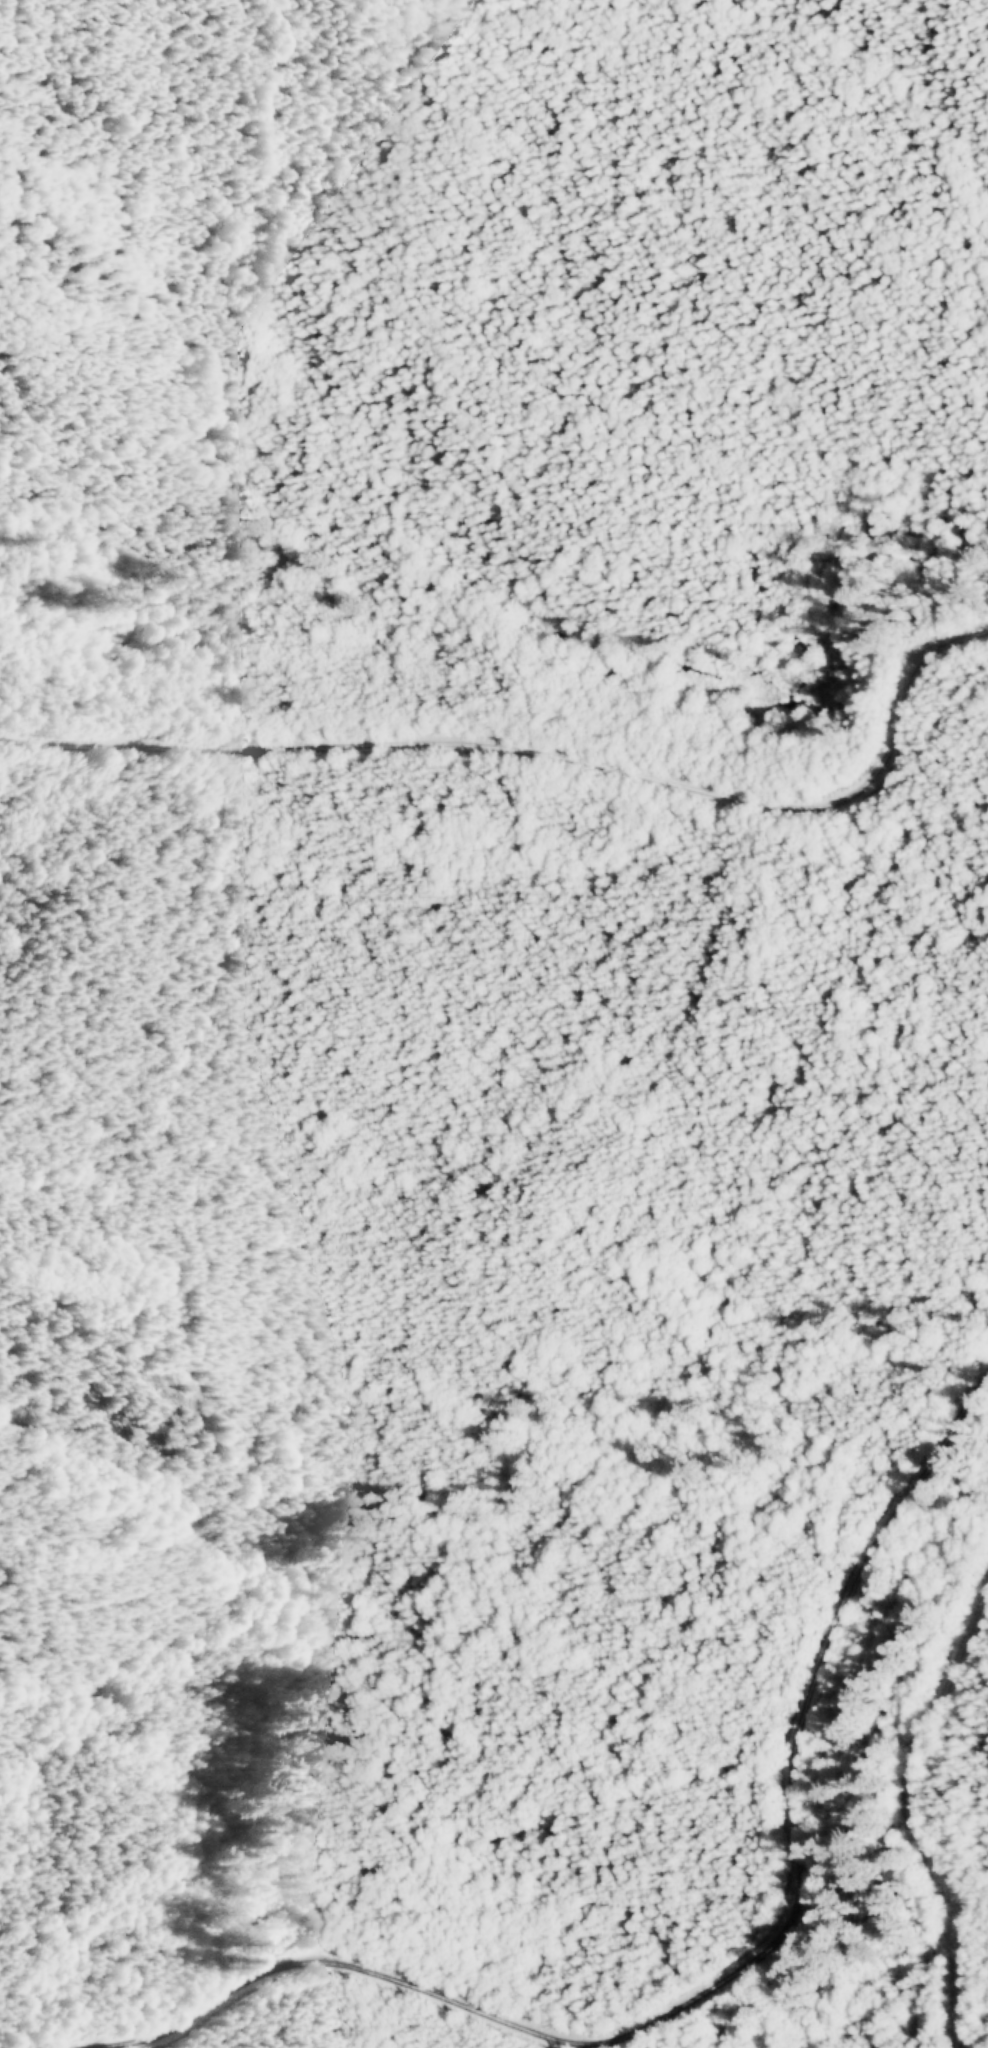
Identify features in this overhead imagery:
road: (533, 805)
road: (784, 1708)
road: (304, 2001)

